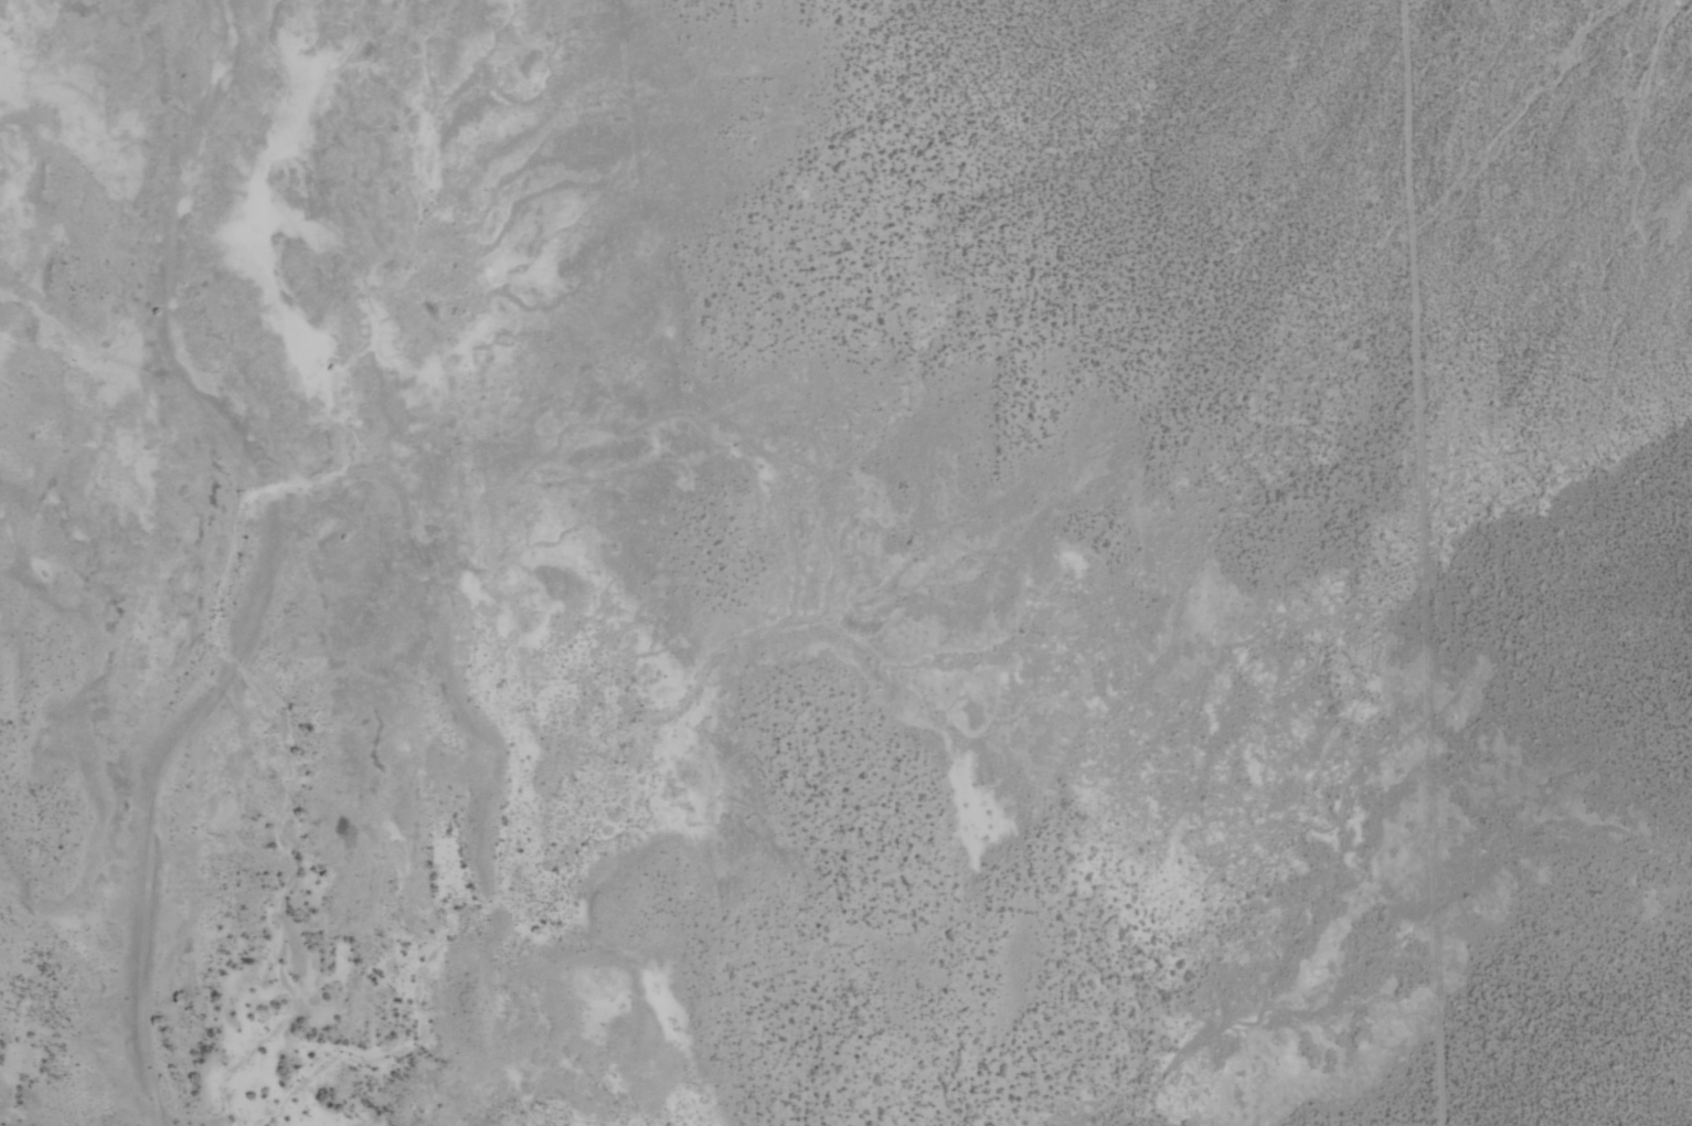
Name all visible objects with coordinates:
road: (1403, 496)
road: (1430, 563)

